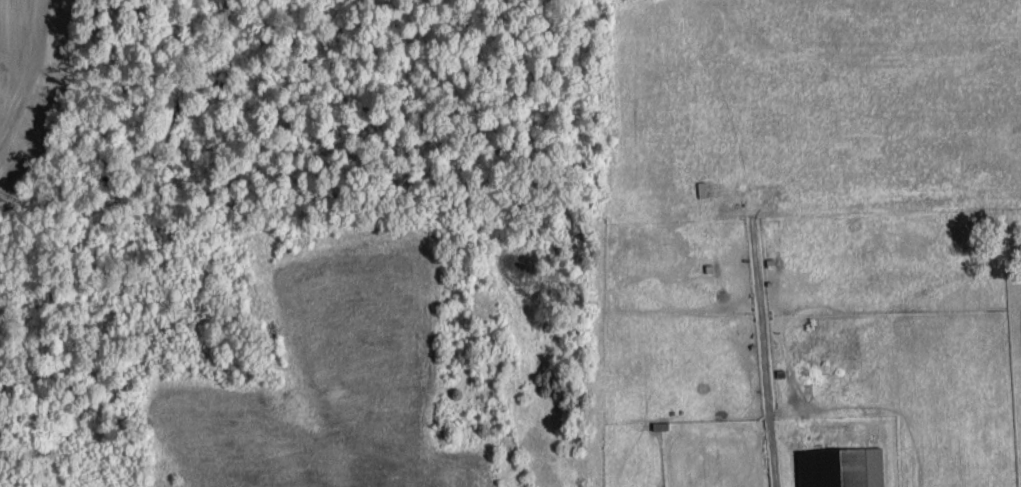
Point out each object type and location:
building: (841, 466)

